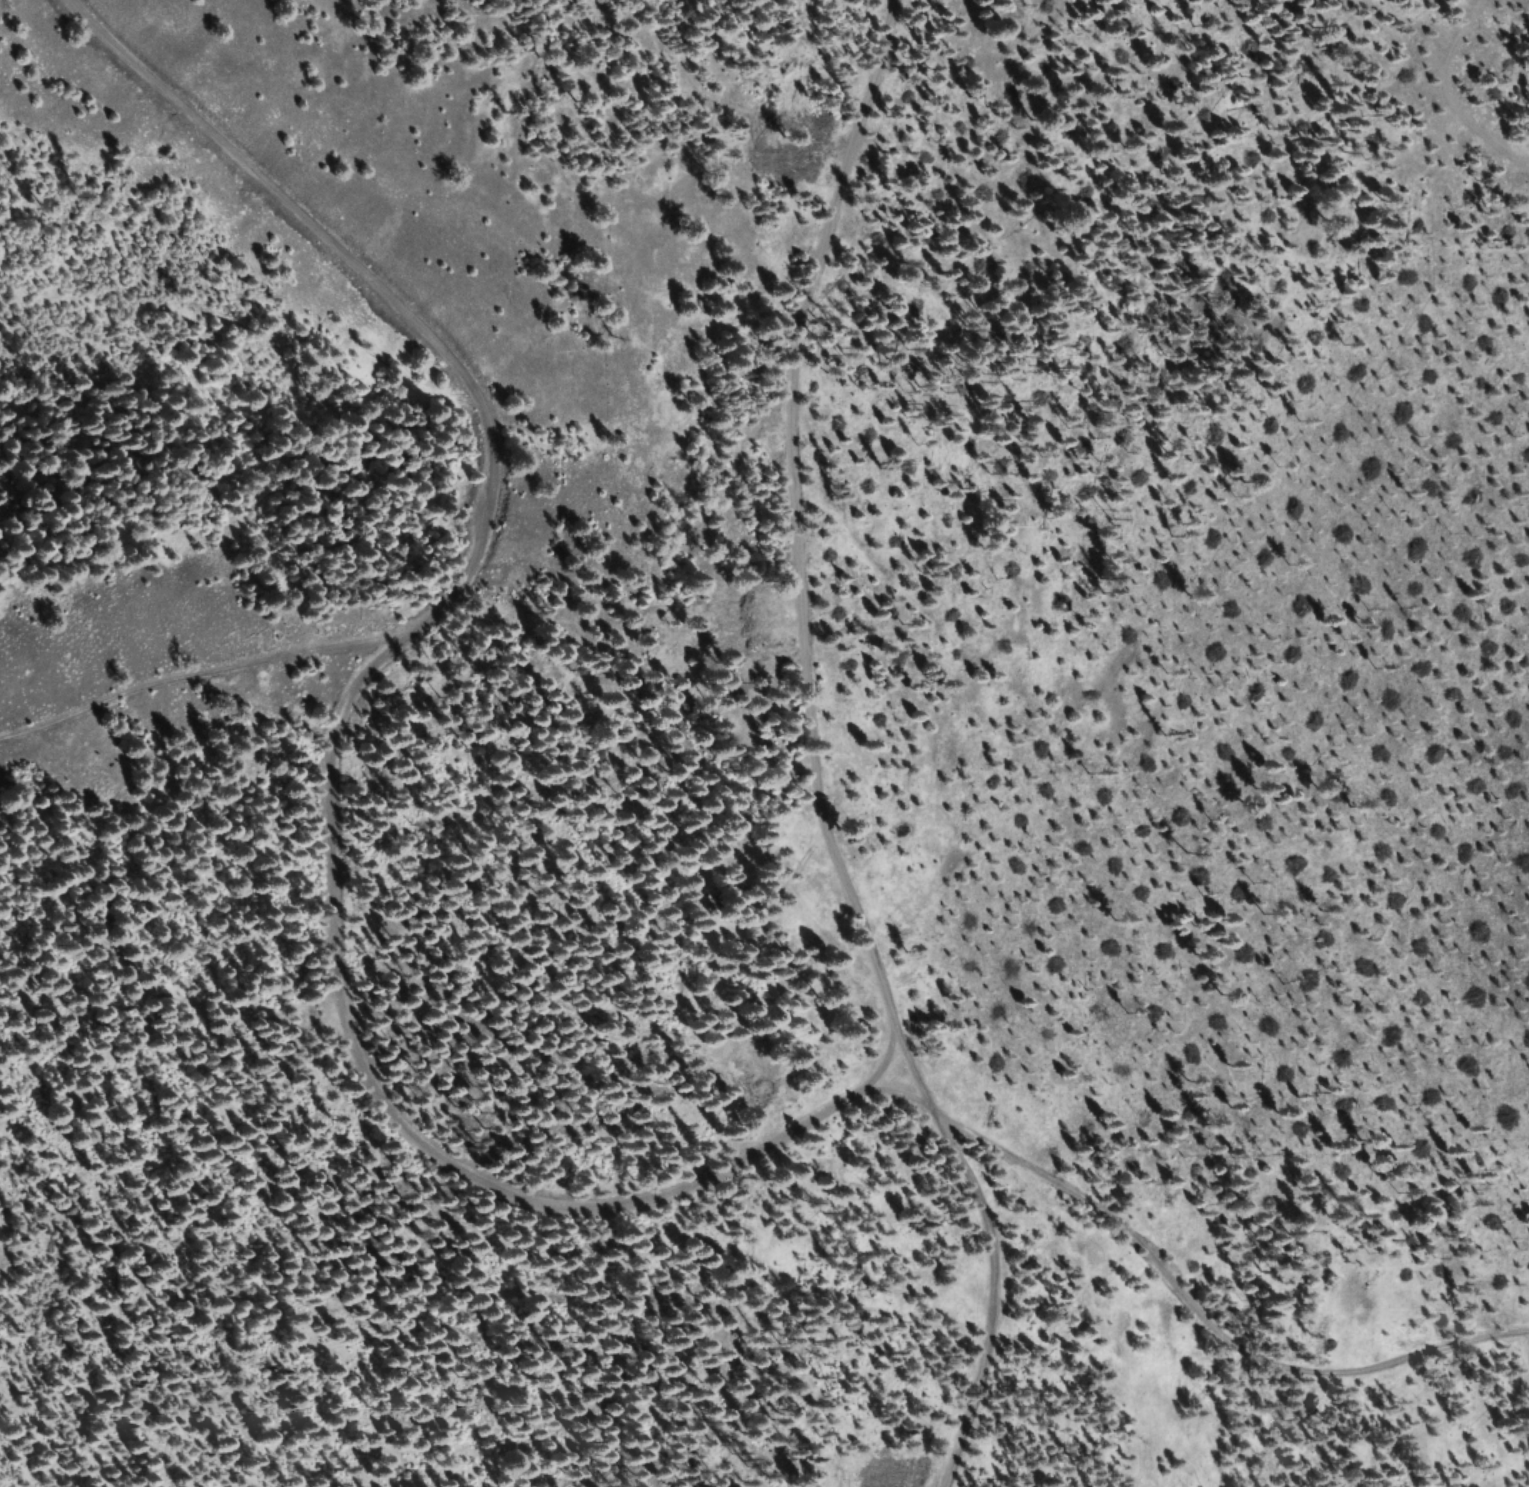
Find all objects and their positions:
road: (1292, 0)
road: (866, 225)
road: (555, 249)
road: (329, 330)
road: (170, 692)
road: (920, 966)
road: (469, 1194)
road: (1242, 1346)

